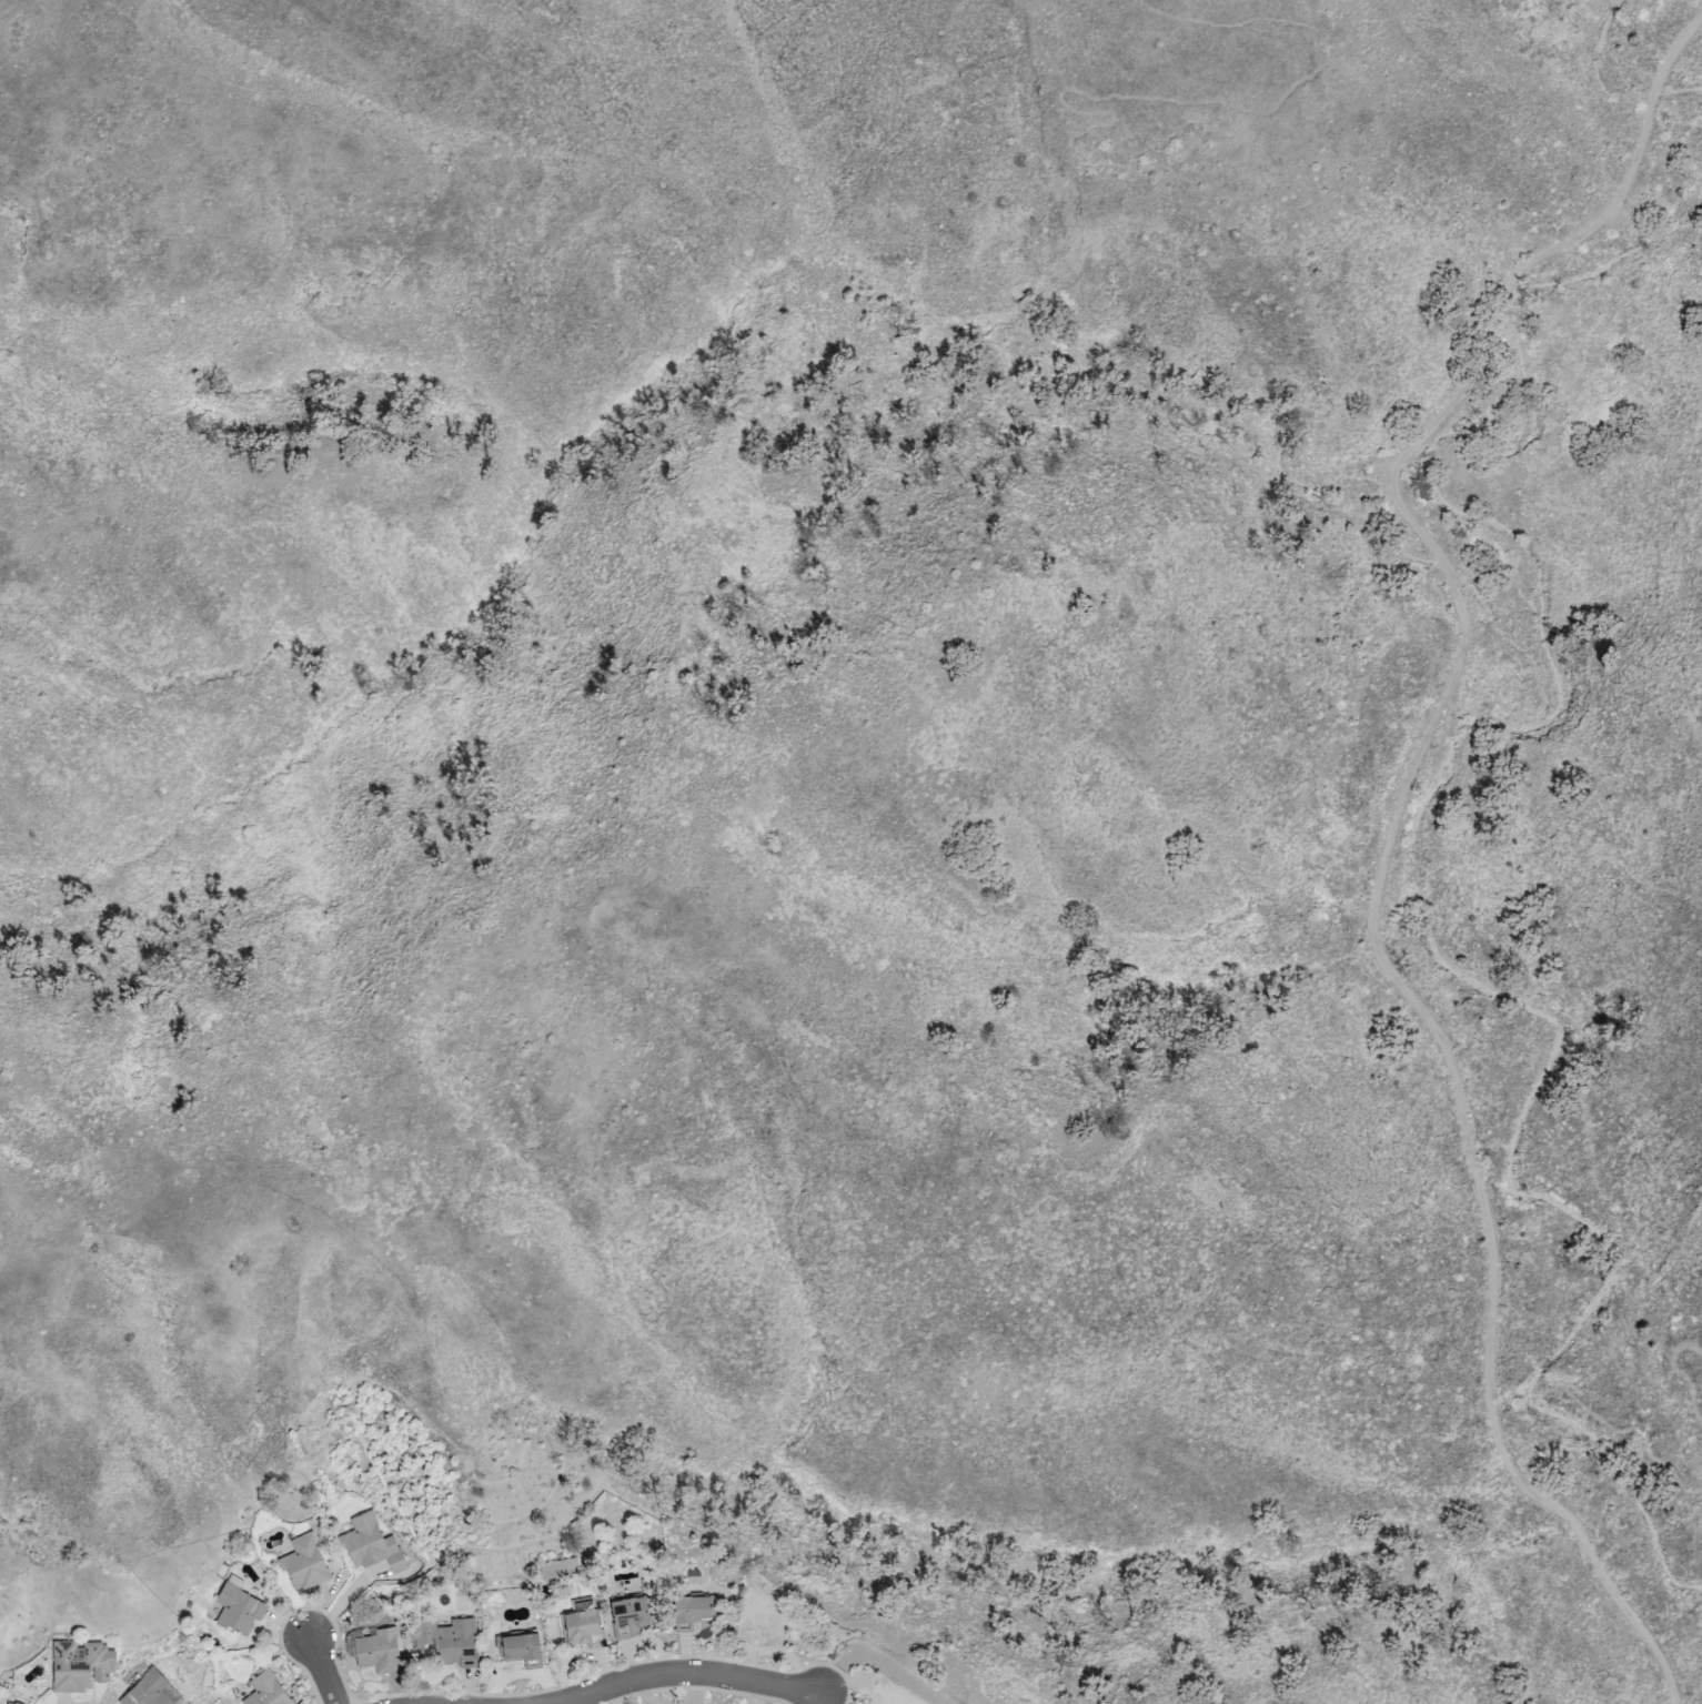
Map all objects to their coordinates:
road: (1622, 471)
road: (1478, 752)
road: (1400, 821)
building: (371, 1544)
building: (304, 1563)
building: (556, 1567)
building: (693, 1606)
building: (238, 1609)
building: (628, 1615)
building: (762, 1620)
building: (582, 1624)
building: (450, 1640)
building: (520, 1648)
building: (377, 1651)
building: (80, 1665)
road: (324, 1671)
road: (685, 1672)
building: (151, 1690)
building: (266, 1691)
building: (892, 1693)
building: (8, 1703)

